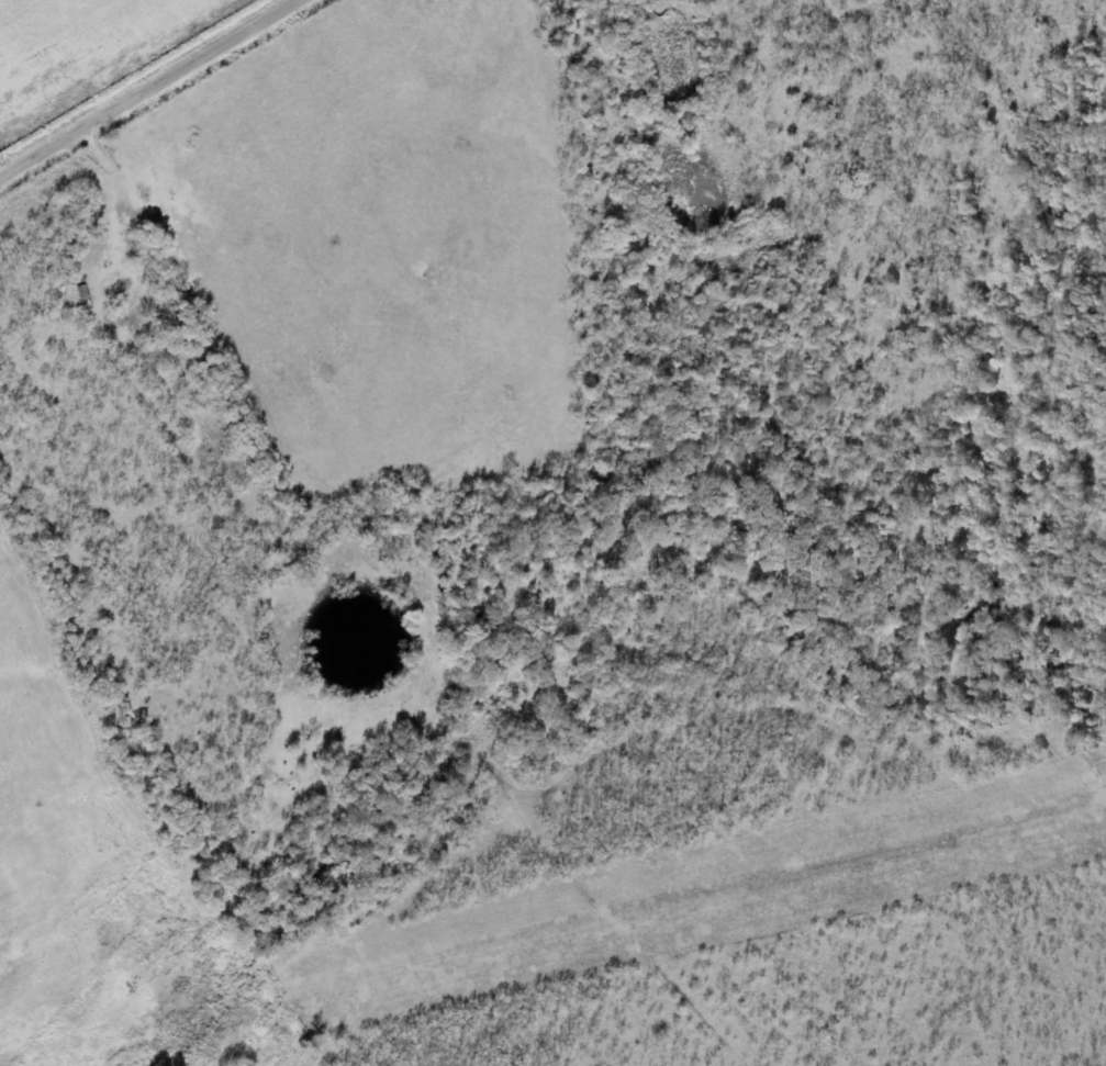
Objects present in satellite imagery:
road: (155, 92)

